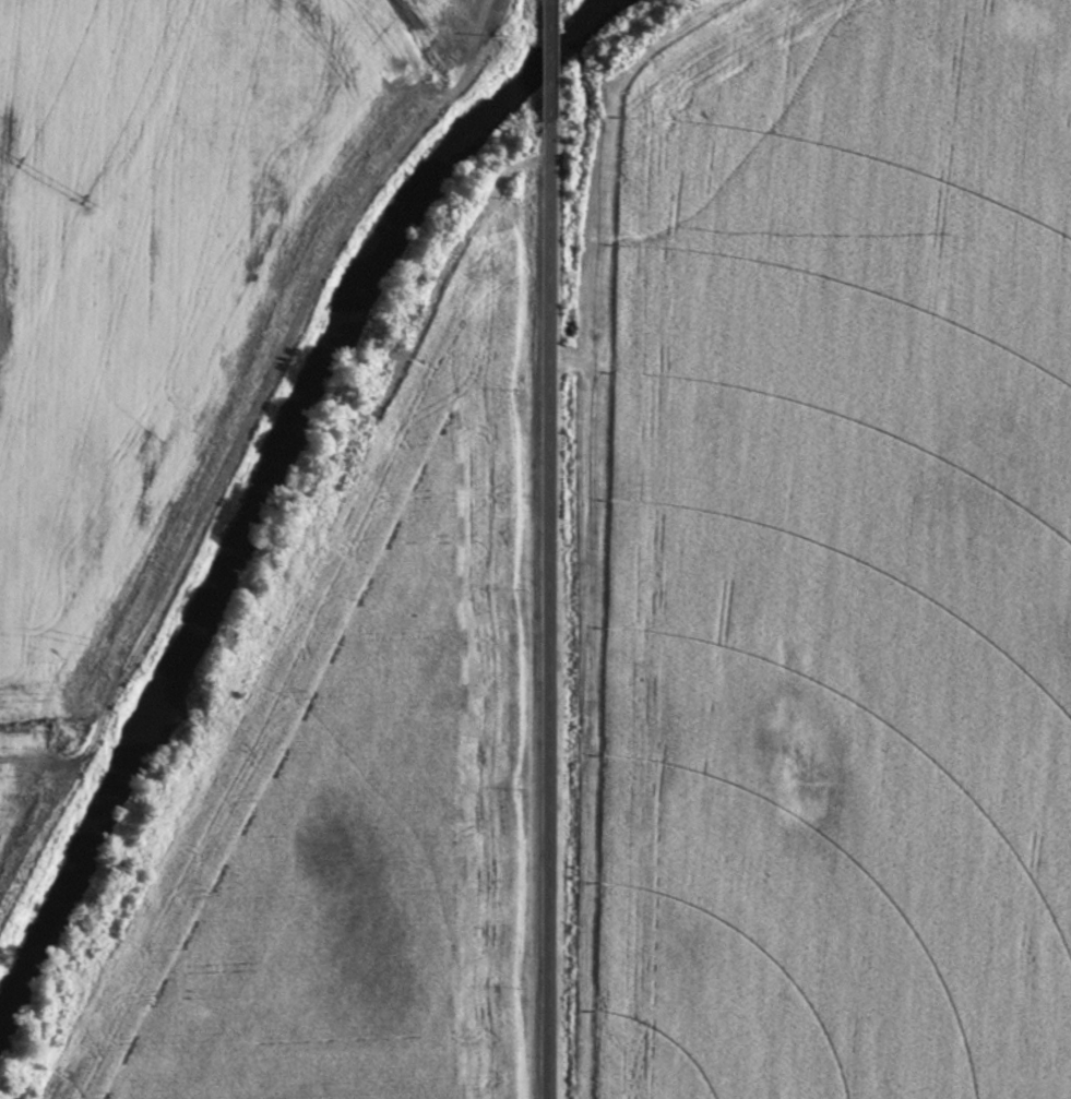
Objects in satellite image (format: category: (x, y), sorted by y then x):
road: (549, 549)

